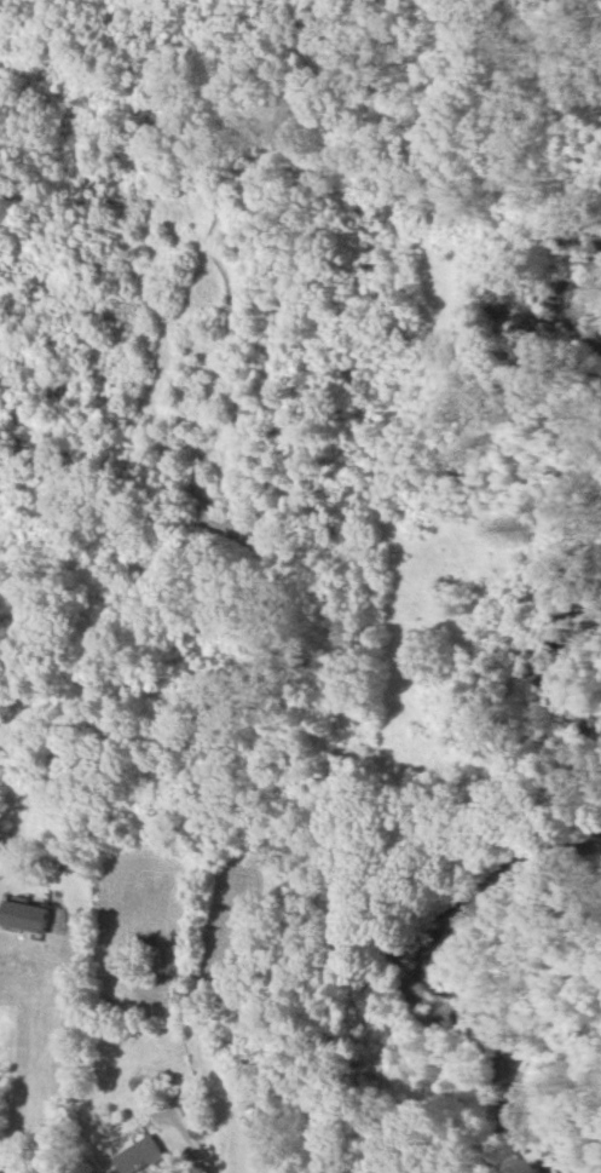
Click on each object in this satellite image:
building: (25, 915)
road: (57, 1050)
building: (196, 1111)
road: (186, 1137)
building: (140, 1155)

